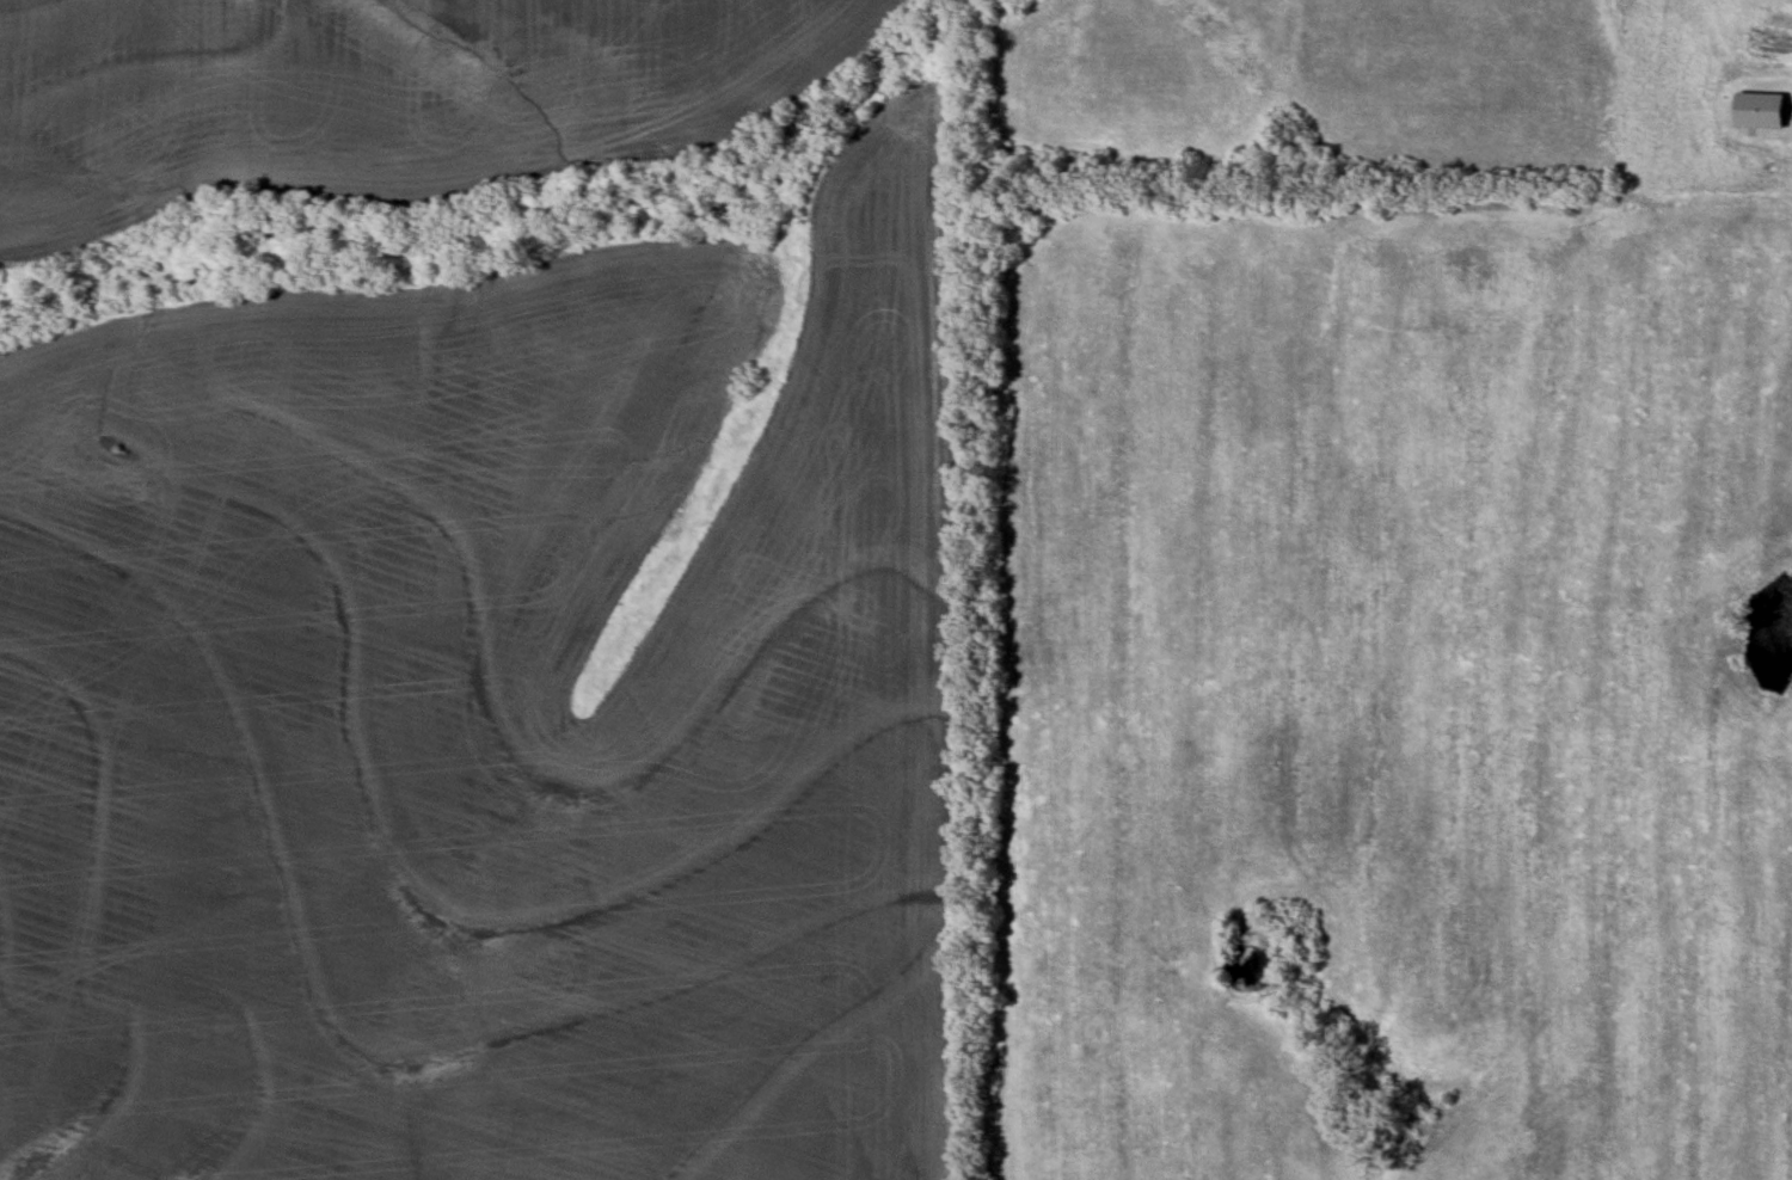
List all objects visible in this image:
building: (1778, 32)

